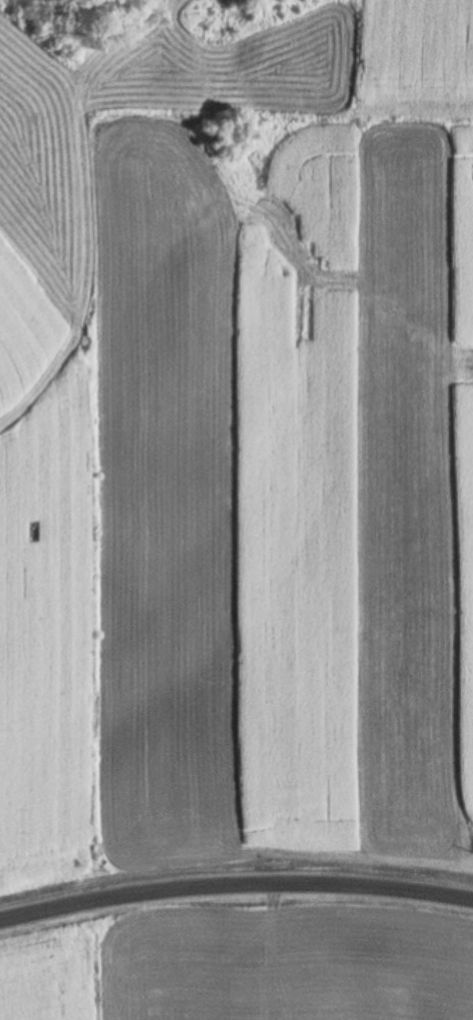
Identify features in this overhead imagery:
road: (236, 867)

